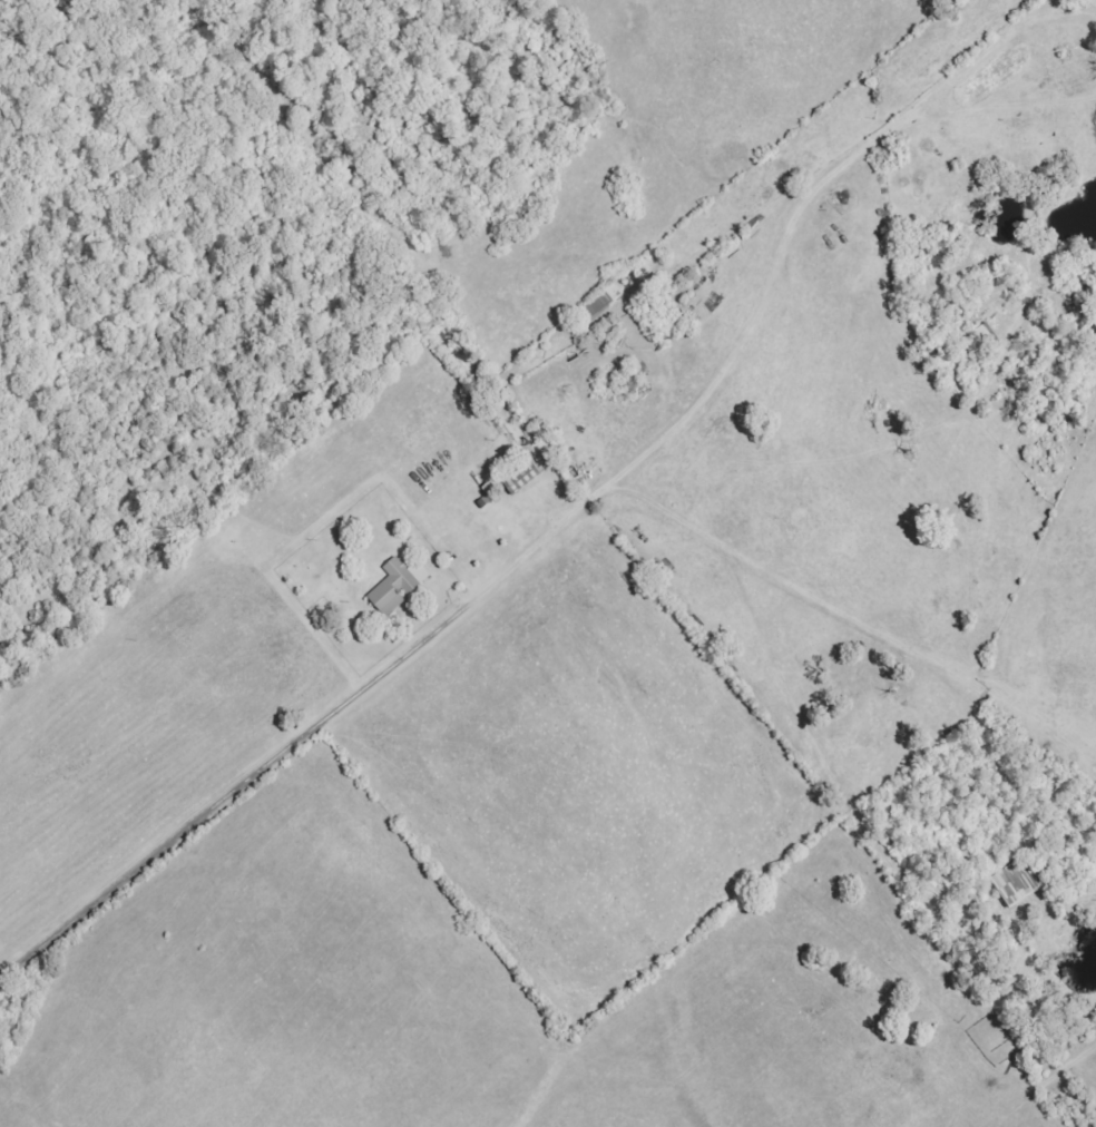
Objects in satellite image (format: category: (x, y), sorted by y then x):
building: (600, 304)
building: (519, 477)
building: (392, 588)
road: (306, 737)

